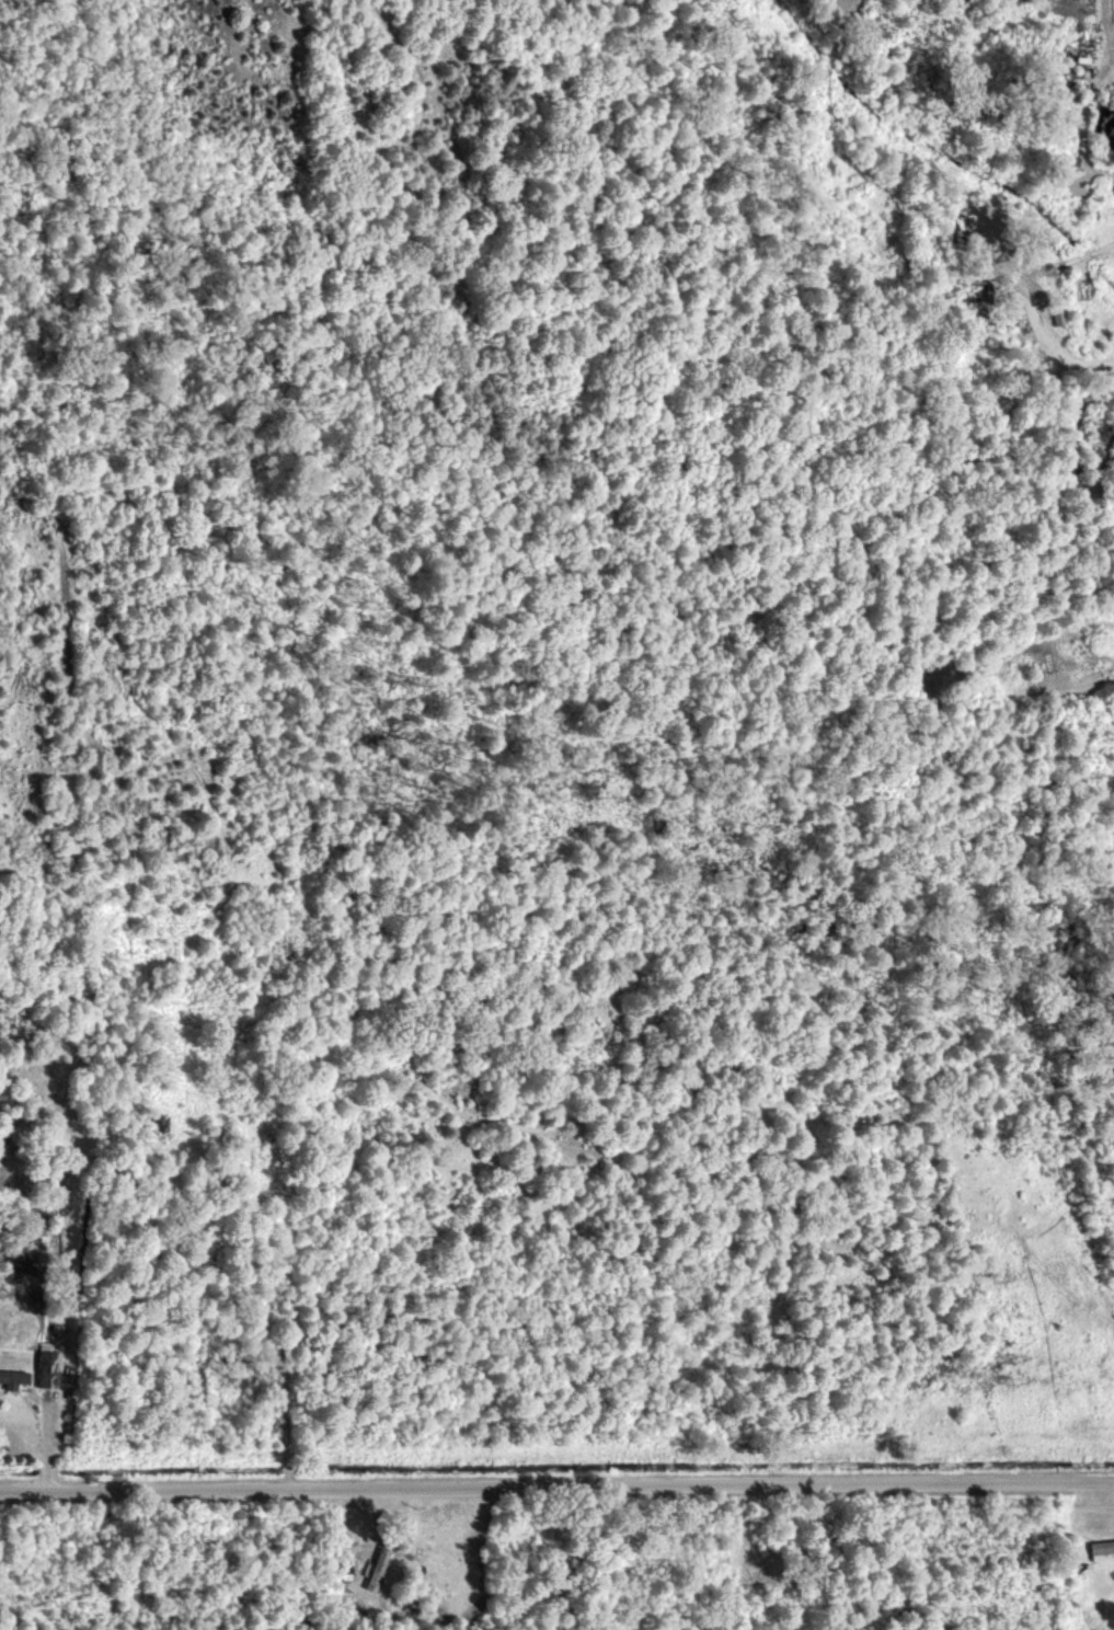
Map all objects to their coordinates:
road: (1104, 15)
road: (1056, 353)
building: (46, 1369)
road: (556, 1488)
building: (1100, 1548)
building: (377, 1565)

